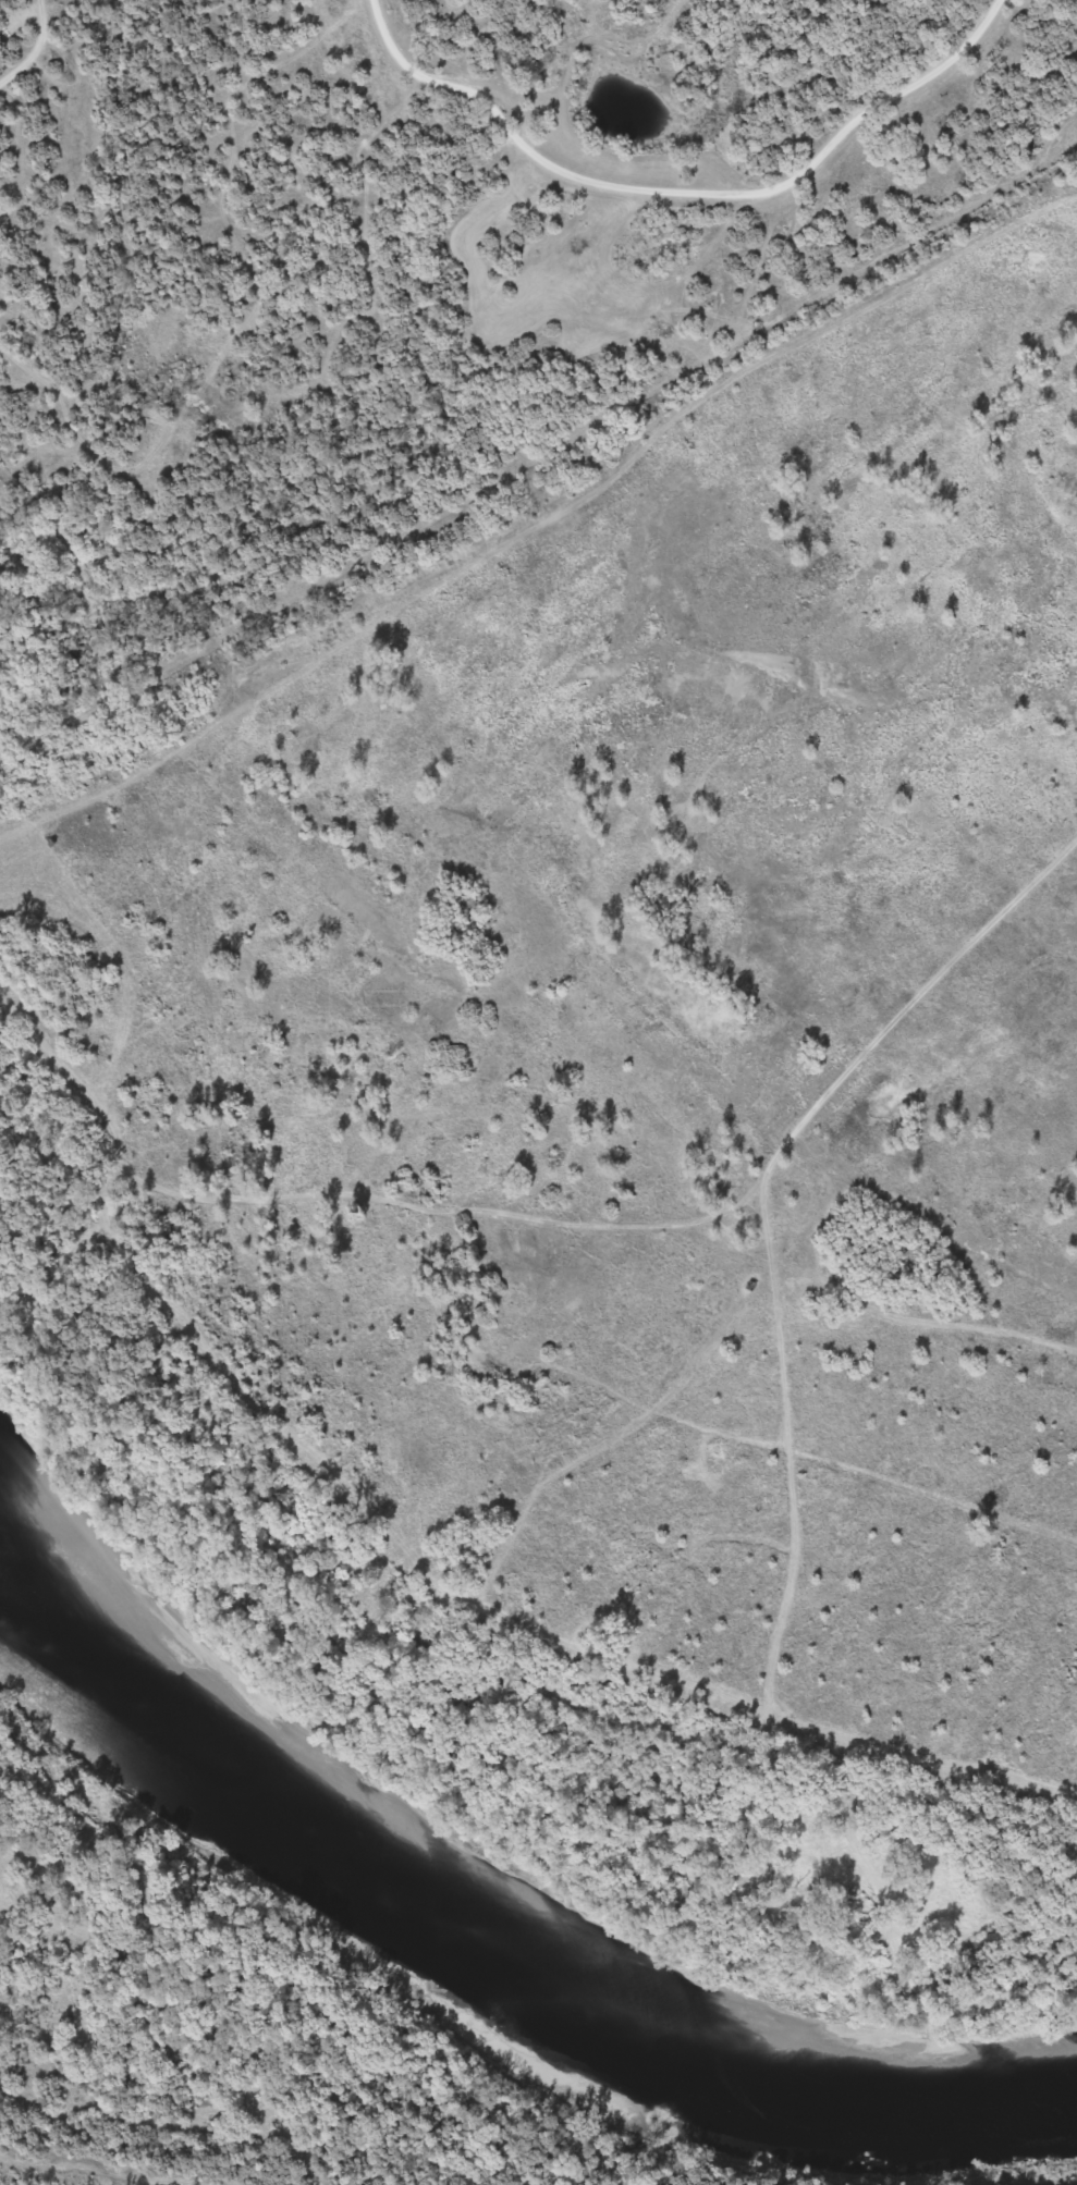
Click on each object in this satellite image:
road: (680, 200)
road: (1057, 234)
road: (730, 413)
road: (868, 895)
road: (761, 1291)
road: (928, 1323)
road: (465, 1515)
road: (371, 1599)
road: (775, 1669)
river: (484, 1962)

